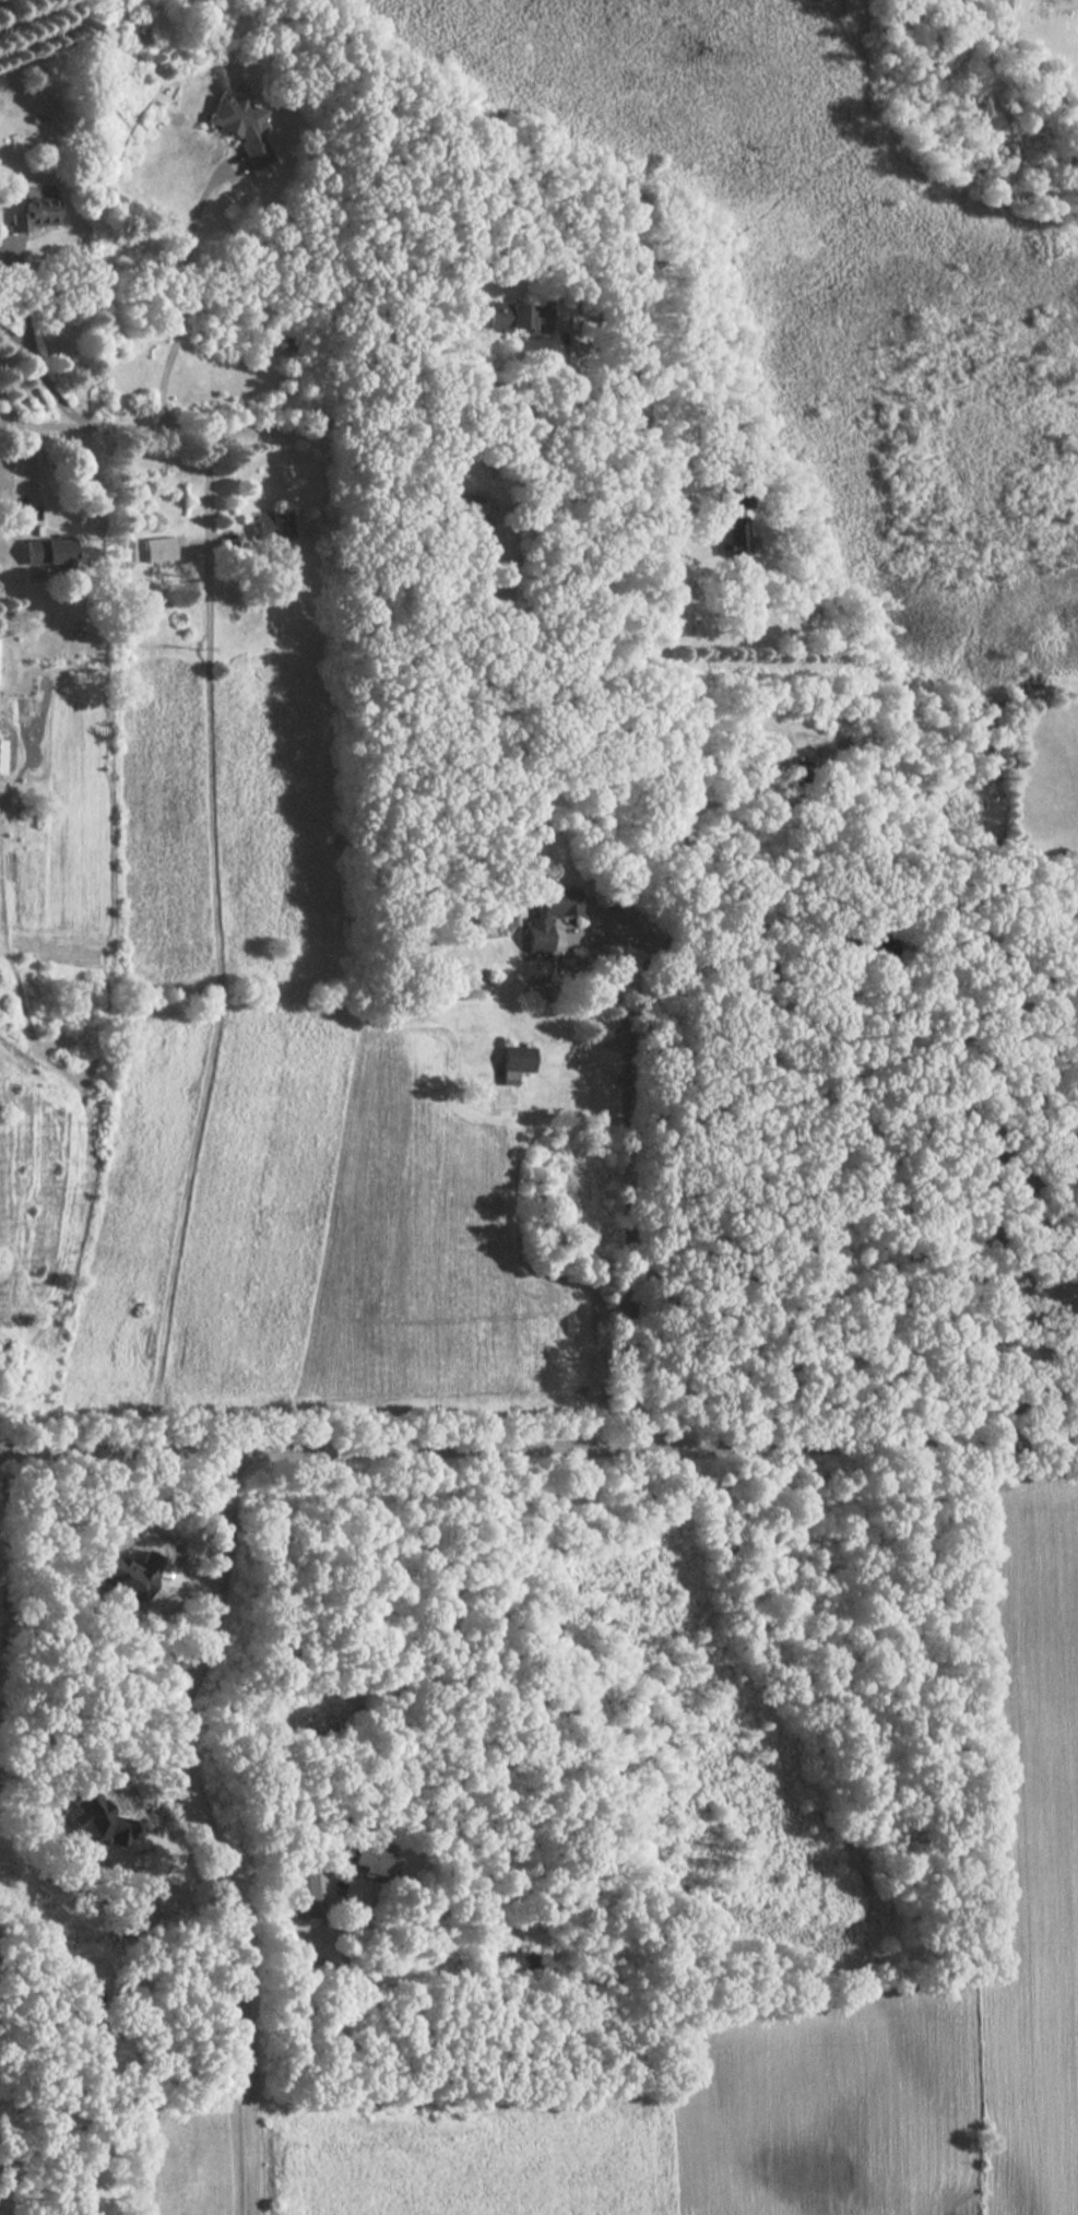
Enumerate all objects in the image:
building: (236, 127)
road: (234, 164)
building: (31, 215)
road: (19, 293)
road: (182, 294)
building: (529, 315)
road: (13, 337)
road: (580, 375)
road: (49, 392)
road: (17, 426)
road: (120, 428)
road: (28, 474)
building: (734, 495)
road: (687, 504)
building: (269, 527)
road: (32, 529)
building: (726, 541)
road: (209, 542)
building: (153, 549)
building: (40, 557)
road: (671, 728)
road: (819, 836)
building: (544, 914)
road: (215, 942)
building: (510, 1061)
road: (1008, 1220)
road: (538, 1445)
road: (400, 1657)
road: (205, 1828)
building: (365, 1858)
building: (299, 1888)

